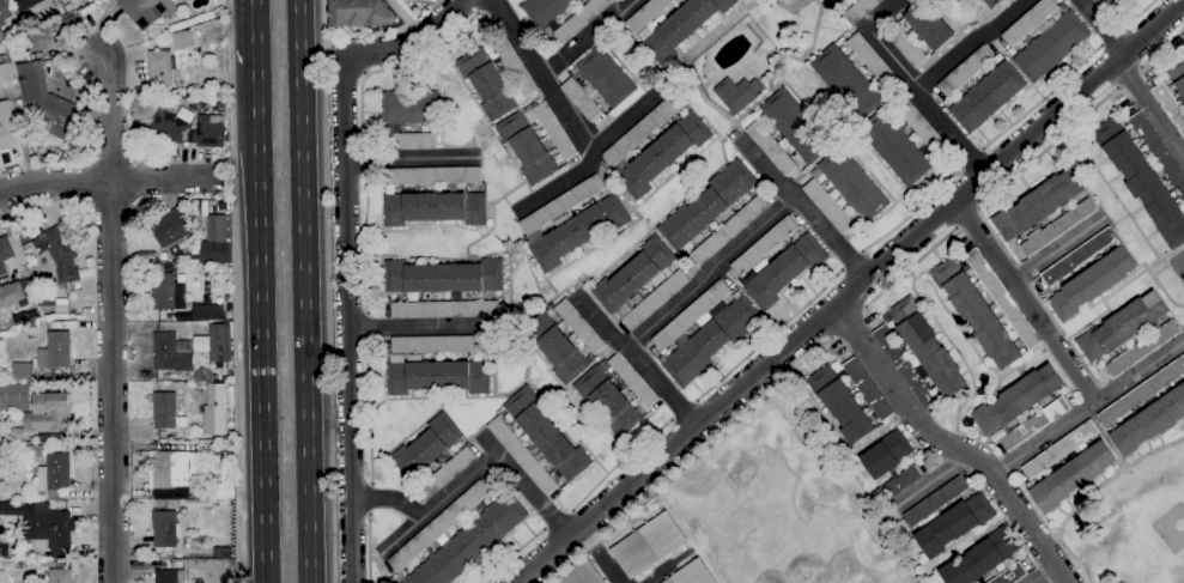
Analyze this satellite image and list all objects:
building: (832, 4)
building: (992, 4)
building: (1101, 4)
building: (34, 5)
building: (68, 7)
road: (485, 7)
building: (150, 11)
road: (255, 11)
building: (860, 11)
building: (4, 12)
building: (359, 13)
road: (1139, 13)
building: (646, 14)
road: (886, 14)
road: (297, 19)
road: (321, 20)
building: (72, 23)
building: (575, 24)
building: (681, 26)
road: (1103, 26)
road: (1122, 29)
road: (389, 30)
building: (14, 34)
building: (921, 34)
building: (1, 35)
road: (588, 36)
road: (1112, 38)
building: (182, 40)
road: (314, 40)
road: (411, 40)
building: (1044, 40)
road: (970, 43)
road: (1101, 45)
road: (1162, 48)
road: (348, 57)
building: (872, 60)
building: (168, 66)
building: (515, 66)
road: (394, 67)
road: (1140, 68)
building: (965, 72)
building: (6, 74)
road: (544, 79)
road: (1128, 79)
building: (29, 83)
building: (845, 83)
building: (486, 84)
building: (597, 84)
road: (1117, 87)
building: (736, 93)
building: (1172, 95)
building: (986, 97)
road: (1042, 99)
road: (923, 103)
building: (411, 108)
road: (1149, 108)
building: (59, 117)
road: (110, 119)
building: (172, 125)
building: (795, 126)
building: (921, 126)
building: (7, 127)
building: (210, 130)
building: (642, 130)
building: (412, 141)
building: (535, 141)
road: (362, 145)
building: (894, 147)
building: (770, 148)
road: (1048, 148)
road: (980, 151)
building: (1159, 152)
building: (662, 154)
road: (365, 158)
road: (411, 158)
road: (591, 159)
road: (971, 159)
road: (961, 168)
road: (368, 172)
building: (433, 176)
building: (1142, 181)
road: (108, 182)
building: (844, 190)
building: (561, 205)
road: (802, 205)
building: (223, 206)
building: (706, 206)
building: (1037, 206)
building: (435, 208)
road: (977, 209)
road: (912, 212)
road: (966, 217)
road: (955, 227)
building: (1056, 227)
building: (174, 230)
building: (728, 231)
building: (30, 232)
building: (577, 232)
road: (364, 243)
building: (764, 247)
road: (1057, 249)
building: (212, 253)
road: (861, 253)
building: (5, 254)
building: (61, 255)
building: (147, 255)
building: (163, 256)
building: (1079, 256)
road: (851, 262)
road: (1180, 263)
road: (910, 267)
road: (842, 269)
road: (711, 271)
building: (783, 271)
building: (444, 278)
building: (1092, 284)
building: (639, 285)
road: (237, 291)
building: (163, 292)
road: (849, 292)
building: (12, 296)
building: (1002, 299)
road: (1025, 300)
road: (260, 303)
road: (863, 306)
road: (304, 310)
building: (443, 310)
building: (206, 314)
building: (976, 314)
building: (24, 317)
road: (347, 320)
road: (846, 323)
building: (1122, 327)
road: (368, 328)
road: (413, 328)
building: (704, 333)
road: (770, 336)
road: (830, 339)
building: (563, 341)
building: (219, 342)
building: (437, 345)
building: (927, 347)
building: (1142, 348)
building: (55, 351)
building: (171, 353)
road: (640, 362)
building: (904, 366)
building: (23, 372)
building: (438, 377)
building: (633, 379)
road: (111, 382)
building: (170, 388)
building: (867, 389)
building: (1142, 391)
building: (14, 396)
building: (608, 401)
building: (1016, 401)
road: (696, 402)
building: (840, 405)
road: (1087, 406)
road: (366, 409)
road: (682, 411)
building: (48, 413)
building: (166, 418)
road: (672, 419)
building: (1150, 421)
building: (1034, 425)
building: (17, 435)
building: (545, 435)
road: (951, 445)
building: (426, 448)
building: (1059, 450)
building: (36, 451)
building: (886, 454)
building: (522, 456)
road: (682, 458)
road: (620, 462)
building: (170, 469)
building: (448, 473)
building: (54, 475)
building: (1071, 476)
road: (933, 481)
road: (369, 482)
building: (900, 482)
road: (522, 484)
building: (221, 485)
road: (1087, 494)
road: (368, 498)
building: (935, 502)
road: (430, 510)
road: (570, 510)
road: (366, 516)
road: (555, 520)
building: (42, 524)
building: (954, 524)
park: (1170, 527)
road: (542, 528)
building: (165, 529)
road: (400, 535)
building: (460, 536)
road: (1048, 539)
building: (646, 545)
road: (366, 551)
building: (224, 553)
road: (511, 554)
building: (980, 558)
building: (578, 572)
building: (691, 573)
building: (1010, 575)
road: (1044, 575)
building: (60, 576)
building: (169, 576)

